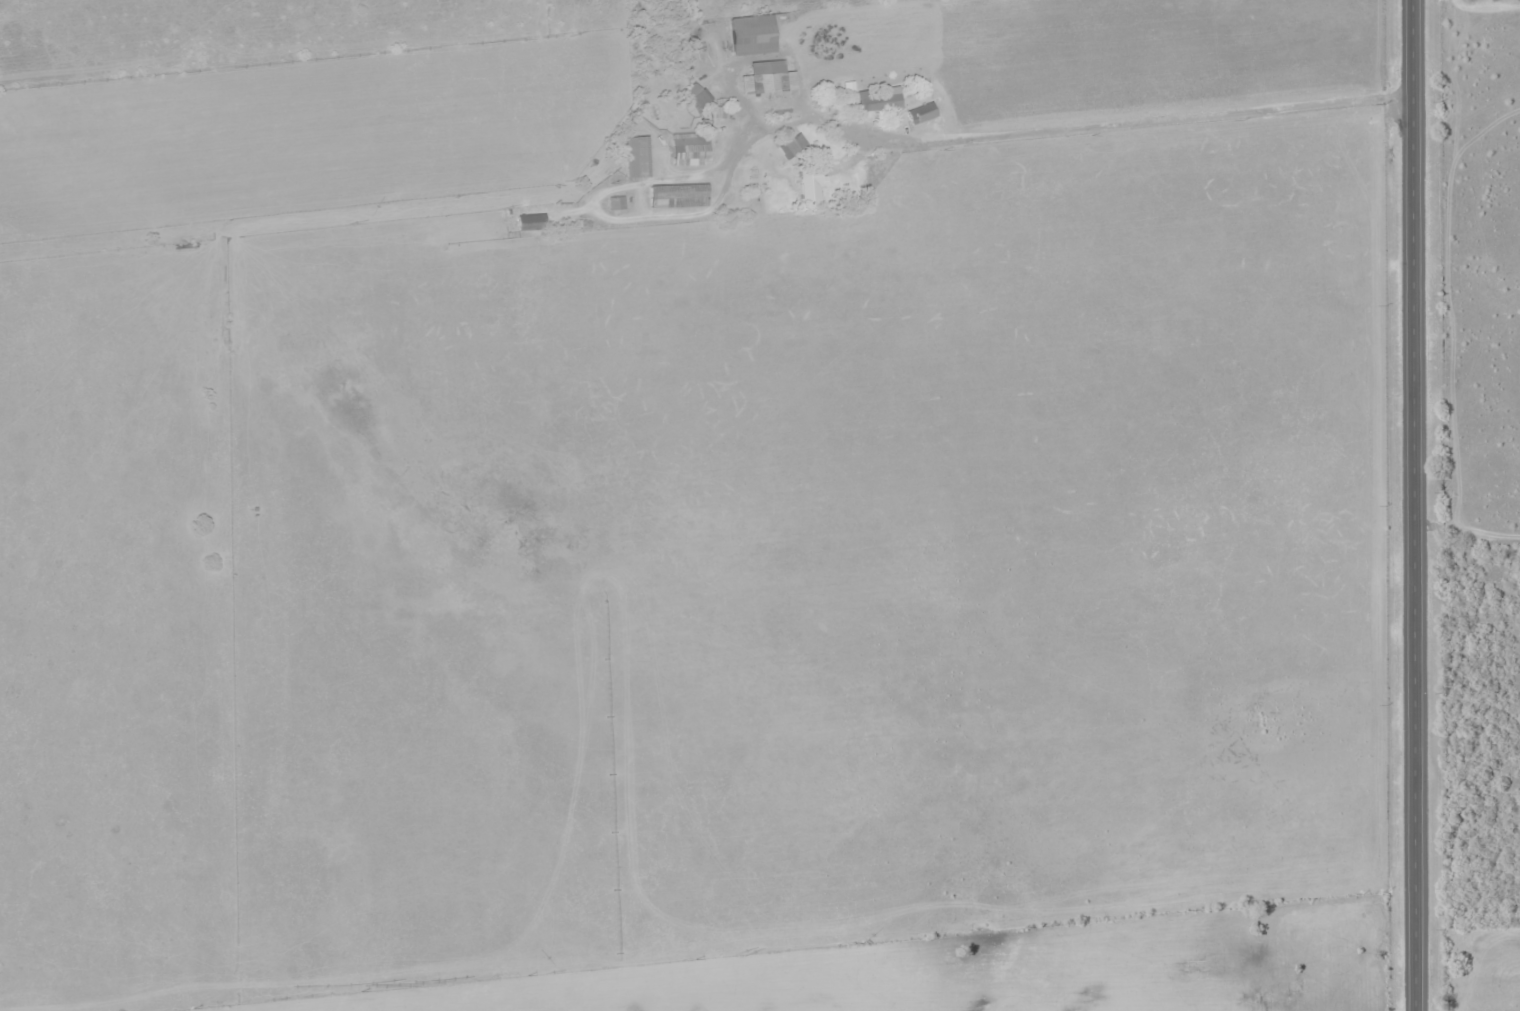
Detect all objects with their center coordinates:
building: (751, 33)
building: (766, 77)
building: (696, 94)
building: (877, 98)
building: (920, 112)
road: (1080, 119)
building: (689, 148)
building: (636, 155)
building: (809, 181)
building: (677, 194)
building: (615, 202)
building: (529, 221)
road: (1412, 505)

